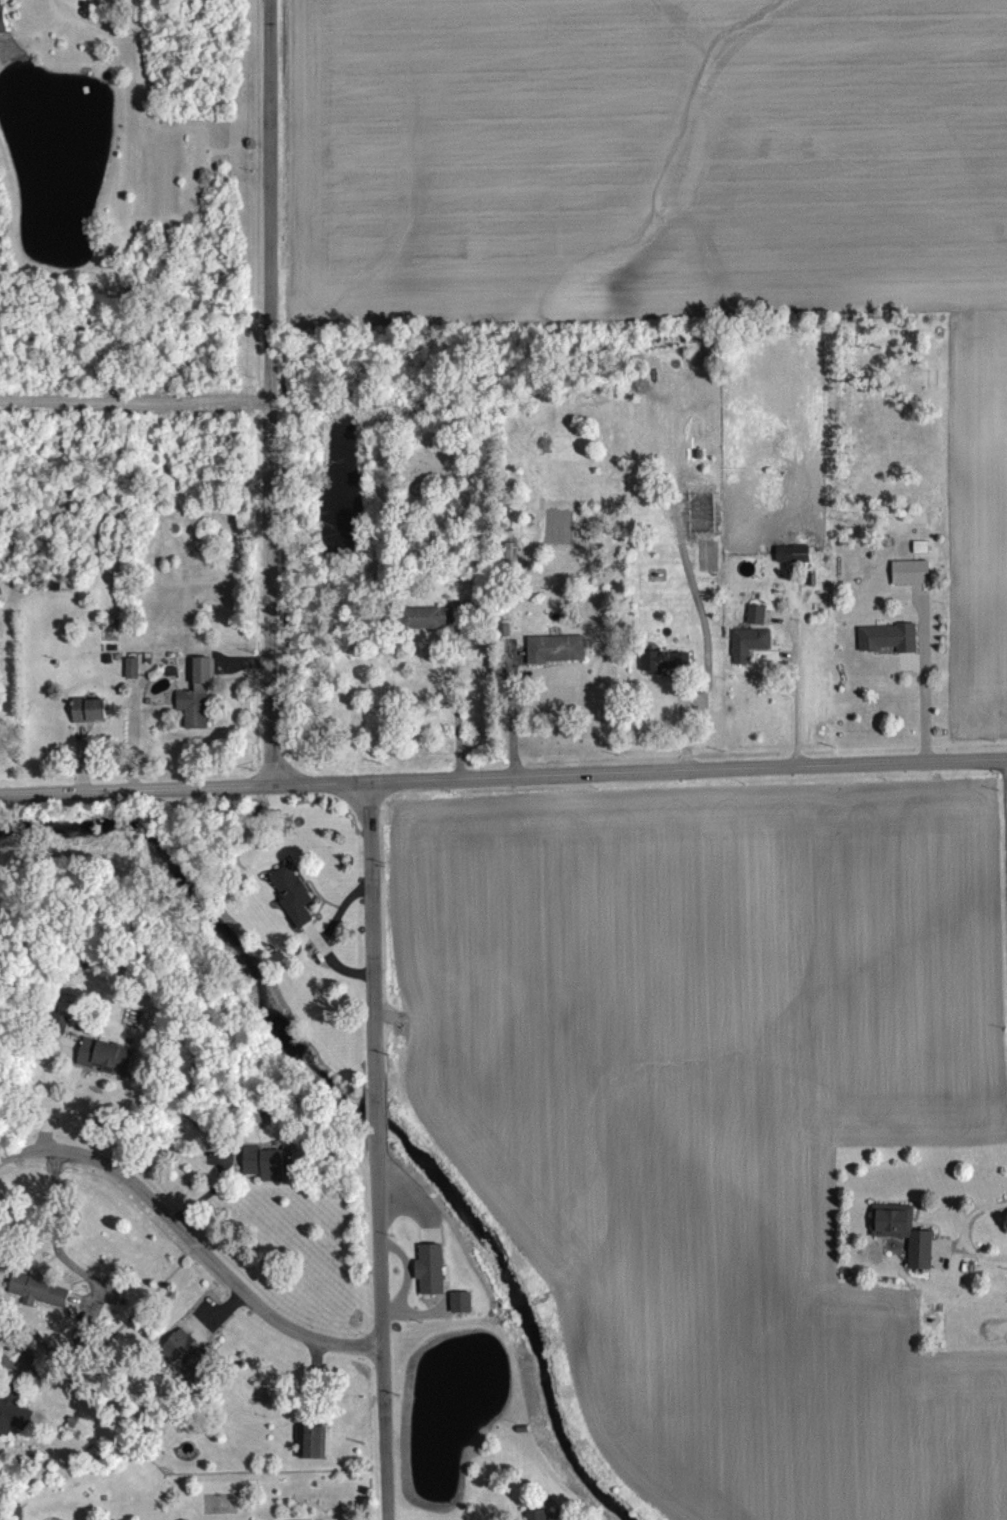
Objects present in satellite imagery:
building: (3, 34)
road: (272, 395)
road: (136, 399)
building: (509, 566)
building: (792, 566)
building: (910, 584)
building: (756, 626)
building: (427, 629)
building: (887, 649)
building: (748, 655)
building: (555, 660)
building: (663, 673)
building: (132, 680)
road: (924, 685)
road: (795, 690)
building: (196, 709)
road: (455, 715)
road: (511, 718)
building: (89, 722)
road: (503, 781)
road: (1006, 797)
building: (292, 906)
road: (371, 948)
building: (60, 1035)
building: (104, 1068)
road: (47, 1094)
road: (377, 1120)
road: (21, 1150)
building: (268, 1174)
road: (1004, 1240)
road: (54, 1243)
building: (920, 1246)
road: (208, 1254)
building: (430, 1281)
building: (38, 1302)
building: (461, 1314)
road: (381, 1325)
road: (15, 1362)
building: (187, 1366)
building: (12, 1422)
building: (311, 1453)

